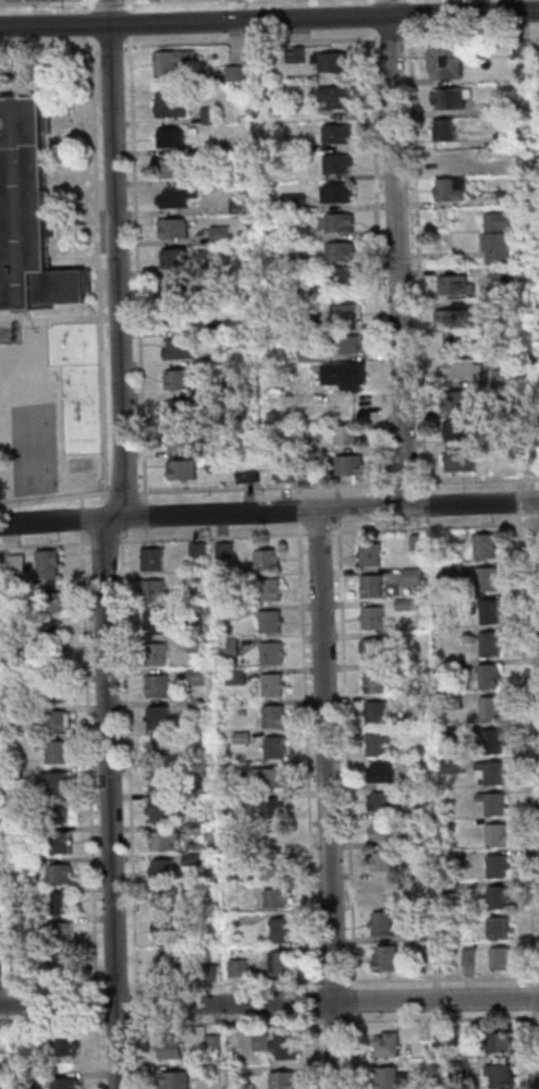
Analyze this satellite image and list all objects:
road: (145, 0)
road: (407, 0)
road: (48, 1)
road: (109, 1)
road: (368, 1)
road: (87, 4)
road: (128, 4)
road: (108, 12)
road: (408, 14)
road: (369, 15)
road: (269, 19)
road: (87, 23)
road: (128, 23)
road: (48, 30)
road: (471, 33)
road: (390, 35)
road: (250, 40)
road: (112, 45)
road: (49, 46)
building: (519, 50)
building: (294, 54)
building: (444, 61)
building: (330, 62)
building: (171, 64)
road: (27, 72)
building: (232, 73)
road: (17, 91)
building: (333, 97)
building: (450, 98)
building: (169, 105)
building: (502, 108)
building: (208, 115)
building: (442, 131)
building: (335, 134)
building: (502, 137)
building: (169, 138)
building: (295, 145)
building: (443, 159)
building: (336, 163)
building: (171, 169)
building: (450, 189)
building: (338, 193)
road: (78, 195)
building: (176, 197)
building: (498, 197)
building: (292, 203)
building: (238, 204)
building: (27, 213)
building: (339, 222)
building: (172, 228)
building: (301, 233)
building: (219, 235)
building: (495, 237)
building: (340, 252)
road: (396, 252)
building: (173, 259)
road: (379, 259)
road: (418, 259)
building: (296, 260)
building: (213, 268)
road: (97, 269)
road: (137, 269)
road: (117, 271)
building: (345, 277)
building: (501, 278)
building: (454, 284)
building: (175, 289)
building: (215, 298)
building: (494, 305)
building: (346, 314)
building: (177, 319)
building: (454, 322)
building: (215, 328)
building: (345, 344)
building: (177, 350)
building: (306, 354)
building: (216, 358)
building: (460, 369)
building: (343, 376)
building: (501, 377)
building: (177, 380)
building: (218, 388)
building: (456, 401)
building: (497, 407)
building: (180, 409)
building: (225, 420)
building: (457, 431)
building: (347, 436)
building: (182, 440)
building: (304, 446)
park: (32, 448)
building: (457, 462)
building: (348, 465)
building: (182, 470)
building: (244, 474)
building: (284, 474)
road: (478, 479)
road: (405, 481)
road: (265, 486)
road: (338, 490)
road: (123, 491)
road: (298, 491)
road: (54, 498)
road: (427, 498)
road: (387, 499)
road: (81, 500)
road: (338, 507)
road: (516, 507)
road: (298, 509)
road: (269, 512)
road: (145, 515)
road: (113, 517)
road: (82, 518)
road: (532, 523)
road: (428, 527)
road: (318, 531)
road: (145, 534)
road: (211, 536)
road: (102, 542)
building: (415, 542)
road: (44, 543)
building: (482, 546)
road: (537, 549)
building: (196, 550)
building: (223, 551)
building: (369, 554)
building: (151, 560)
building: (266, 560)
building: (14, 563)
building: (47, 564)
building: (451, 571)
building: (411, 576)
building: (485, 579)
building: (370, 587)
building: (152, 591)
building: (266, 591)
building: (49, 602)
building: (402, 604)
building: (3, 609)
building: (489, 611)
building: (224, 612)
building: (193, 615)
building: (371, 617)
building: (269, 622)
building: (152, 623)
building: (50, 633)
building: (488, 644)
building: (195, 645)
building: (228, 647)
building: (372, 649)
building: (270, 653)
building: (155, 654)
building: (47, 661)
building: (450, 668)
building: (234, 676)
building: (487, 676)
building: (194, 677)
building: (373, 682)
building: (8, 683)
building: (271, 685)
building: (156, 686)
building: (424, 686)
building: (49, 692)
building: (450, 700)
building: (197, 708)
building: (489, 709)
building: (241, 712)
building: (375, 713)
building: (272, 717)
building: (157, 718)
building: (53, 722)
building: (450, 733)
building: (240, 738)
building: (491, 742)
building: (375, 745)
building: (273, 747)
building: (158, 749)
road: (524, 749)
building: (52, 751)
road: (346, 752)
road: (306, 755)
road: (87, 761)
road: (128, 763)
building: (425, 763)
building: (450, 766)
building: (230, 770)
building: (11, 773)
building: (379, 773)
building: (488, 773)
building: (271, 778)
building: (159, 781)
building: (53, 782)
building: (441, 794)
building: (183, 798)
road: (326, 799)
building: (380, 802)
building: (12, 804)
road: (108, 804)
building: (491, 804)
building: (272, 809)
building: (421, 810)
building: (158, 811)
building: (58, 815)
building: (193, 829)
building: (387, 831)
building: (14, 835)
building: (494, 835)
building: (275, 837)
building: (162, 841)
building: (59, 843)
building: (193, 859)
building: (449, 859)
building: (383, 862)
building: (16, 865)
building: (497, 866)
building: (273, 868)
building: (160, 870)
building: (58, 873)
building: (449, 888)
building: (382, 892)
building: (497, 897)
building: (274, 898)
building: (60, 902)
building: (163, 902)
building: (465, 918)
building: (380, 925)
building: (498, 928)
building: (162, 931)
building: (280, 931)
building: (60, 934)
building: (419, 935)
building: (466, 956)
building: (499, 958)
building: (383, 959)
building: (280, 964)
building: (60, 965)
building: (171, 966)
building: (0, 968)
building: (236, 968)
building: (210, 972)
building: (26, 974)
road: (442, 978)
road: (333, 980)
road: (222, 983)
road: (49, 984)
road: (113, 984)
road: (532, 996)
road: (354, 999)
road: (94, 1003)
road: (136, 1003)
road: (269, 1003)
street lamp: (131, 1019)
road: (269, 1019)
road: (316, 1038)
building: (20, 1039)
building: (212, 1041)
building: (277, 1042)
building: (498, 1042)
building: (66, 1045)
building: (387, 1045)
building: (171, 1048)
road: (534, 1048)
road: (137, 1050)
road: (354, 1050)
road: (96, 1052)
building: (2, 1065)
building: (240, 1067)
building: (457, 1069)
building: (499, 1077)
building: (388, 1078)
building: (174, 1079)
building: (283, 1079)
building: (22, 1080)
building: (65, 1082)
building: (1, 1087)

